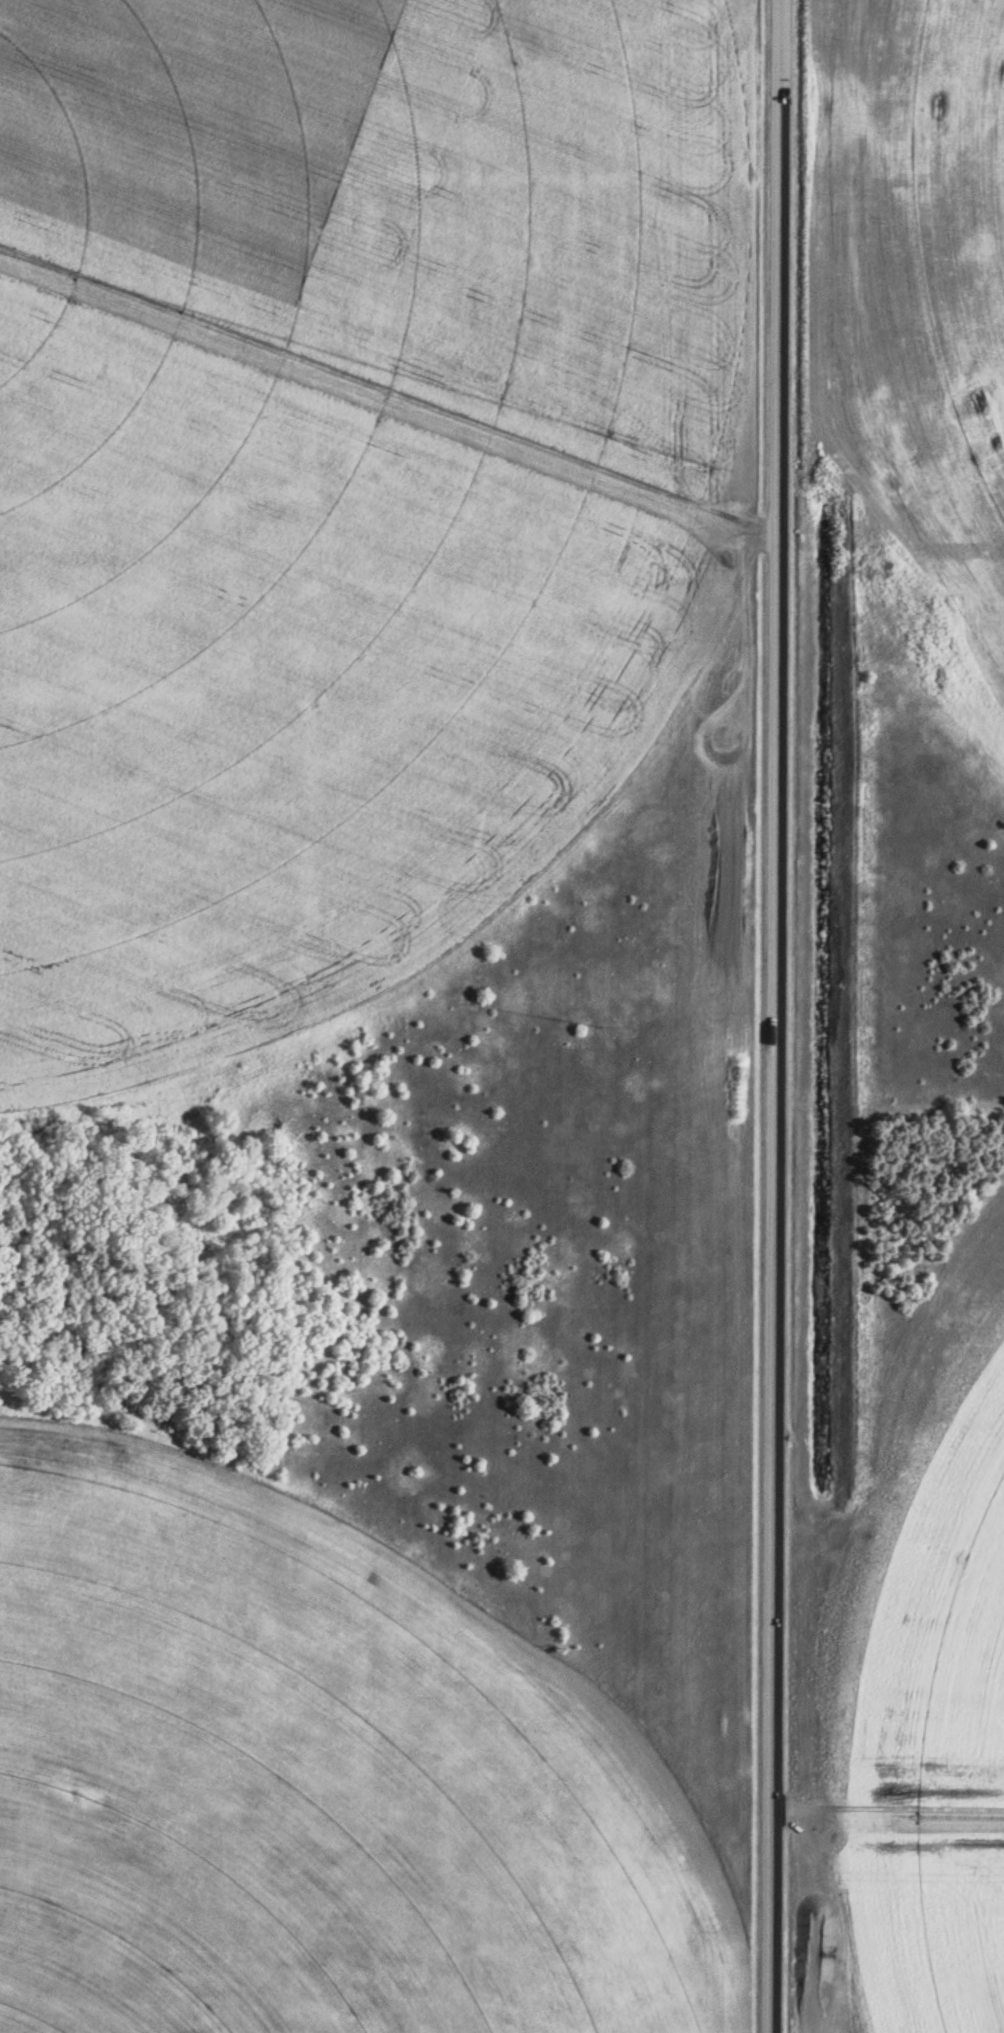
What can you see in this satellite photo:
wastewater plant: (502, 1016)
crop: (915, 1695)
crop: (314, 1783)

